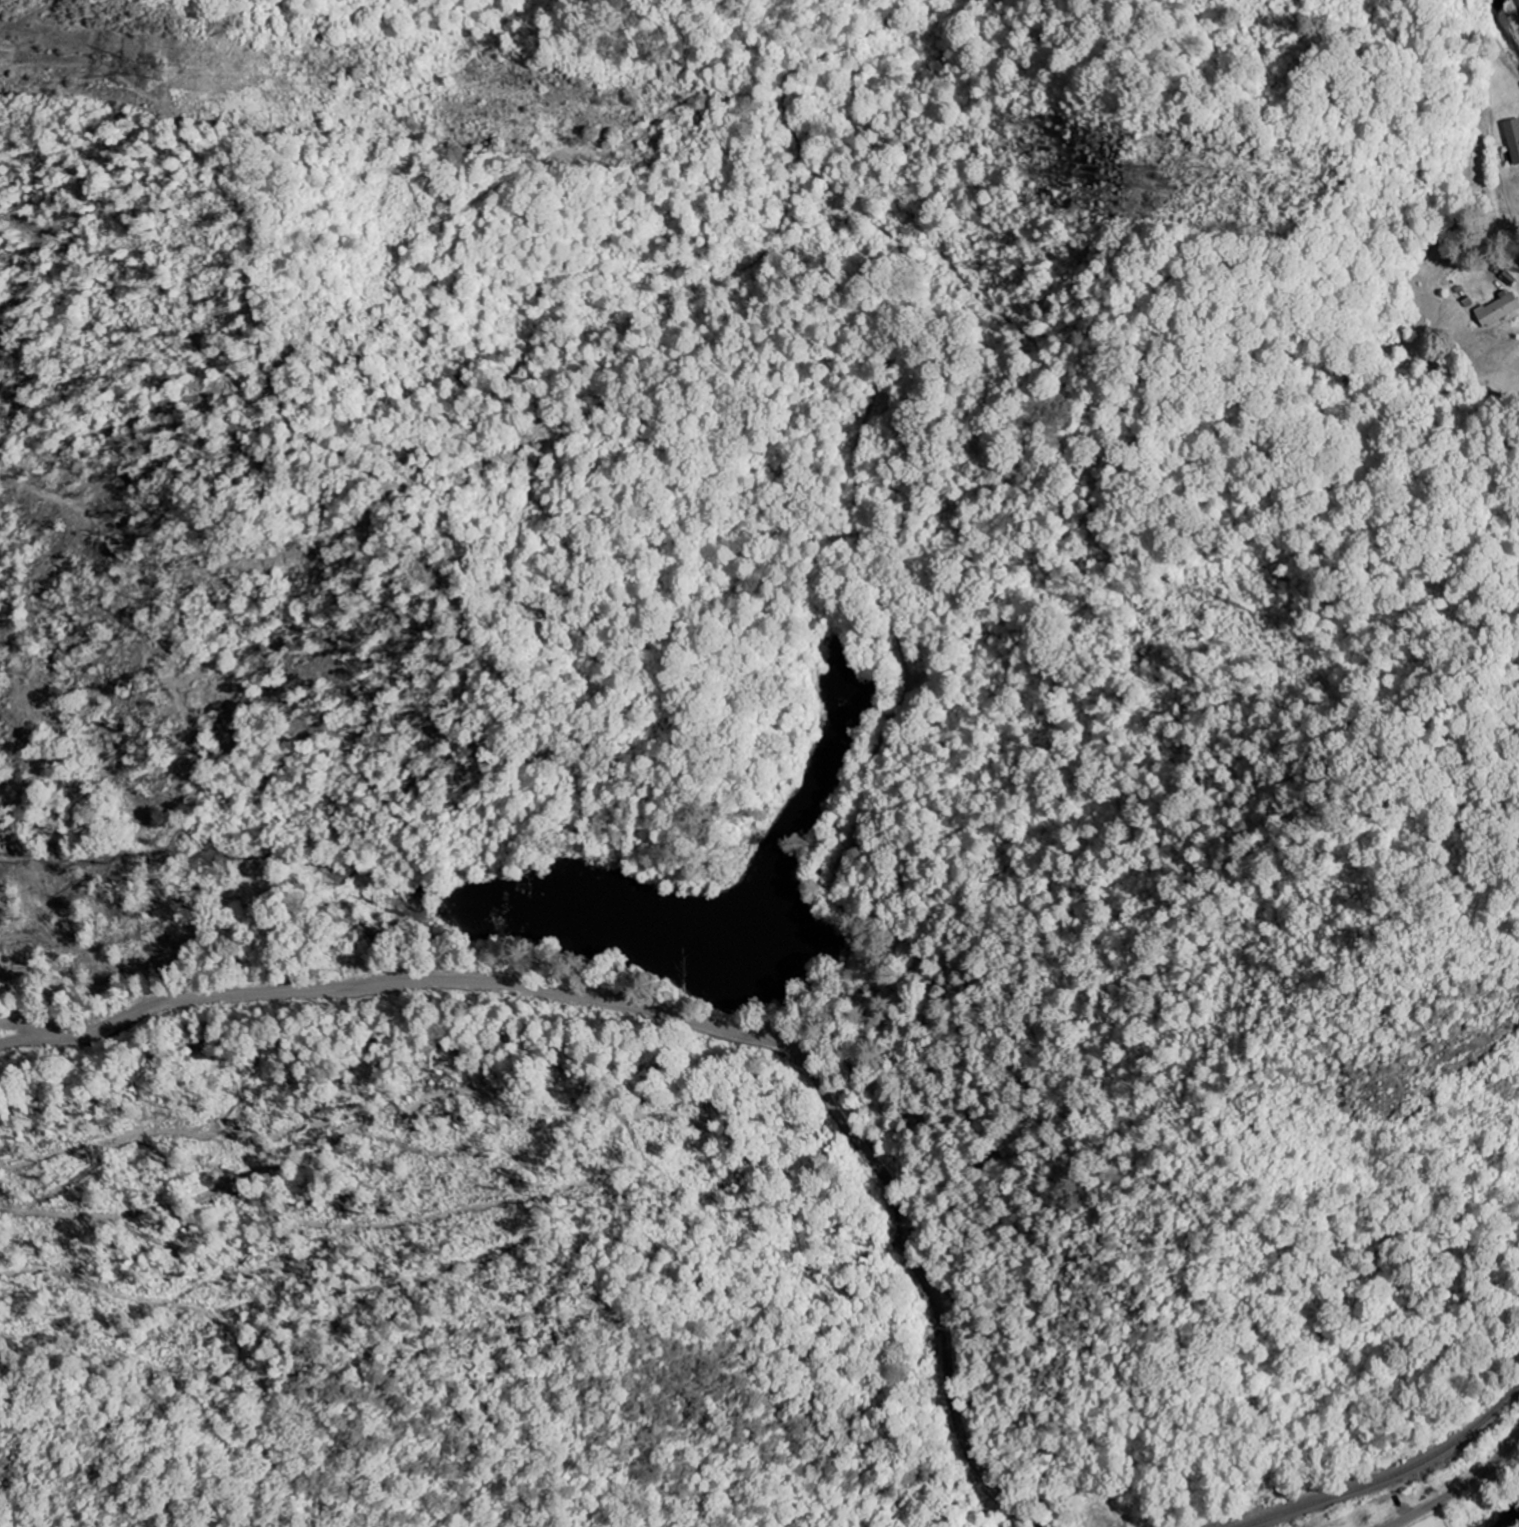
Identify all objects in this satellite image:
road: (1518, 0)
power tower: (151, 67)
building: (1513, 139)
power tower: (1125, 167)
building: (1498, 310)
road: (668, 988)
railway: (1388, 1475)
road: (1459, 1489)

